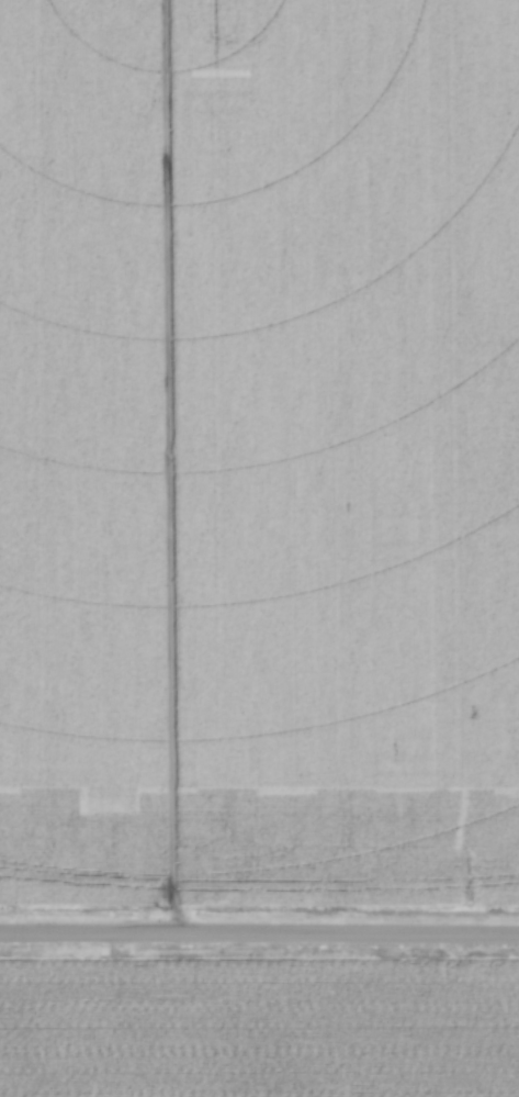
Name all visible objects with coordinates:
road: (259, 937)

